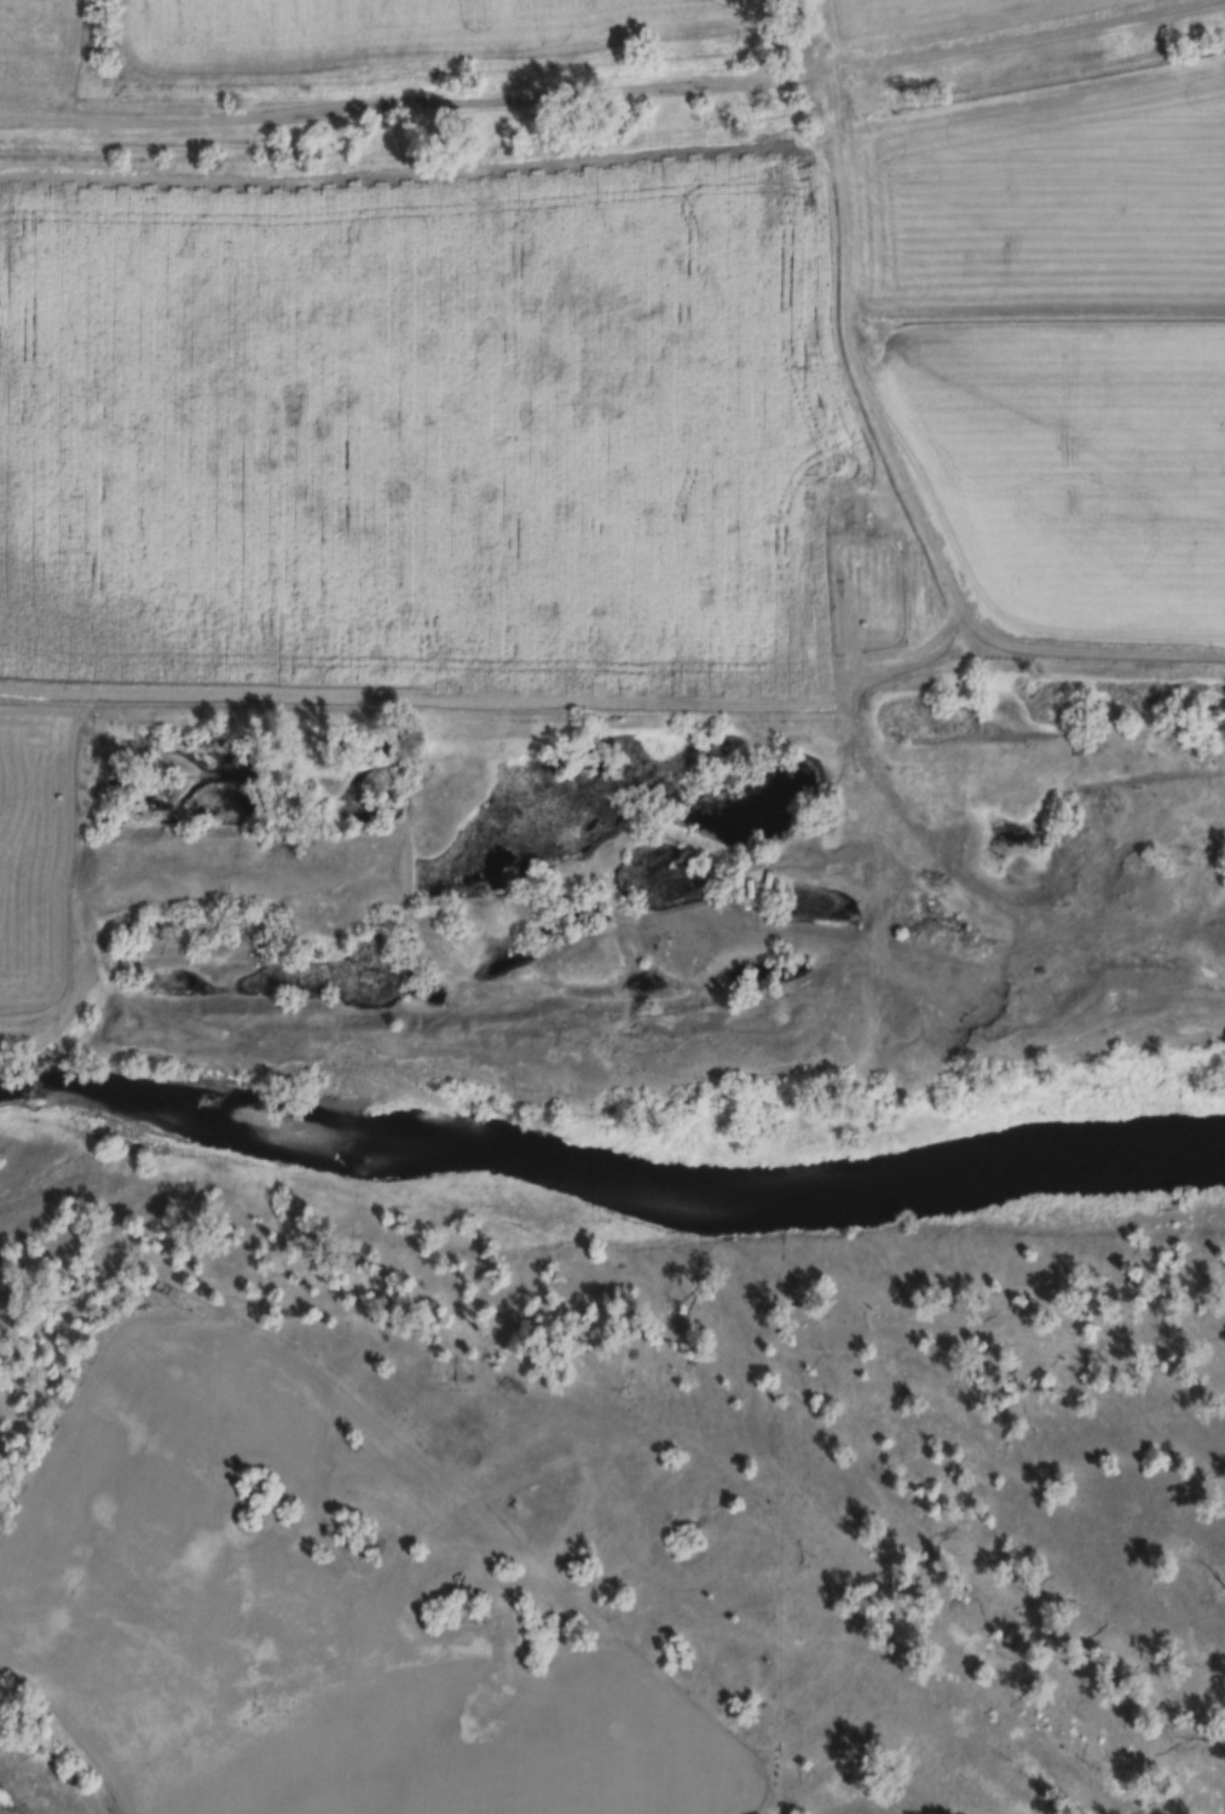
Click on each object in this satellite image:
road: (850, 8)
river: (611, 1166)

